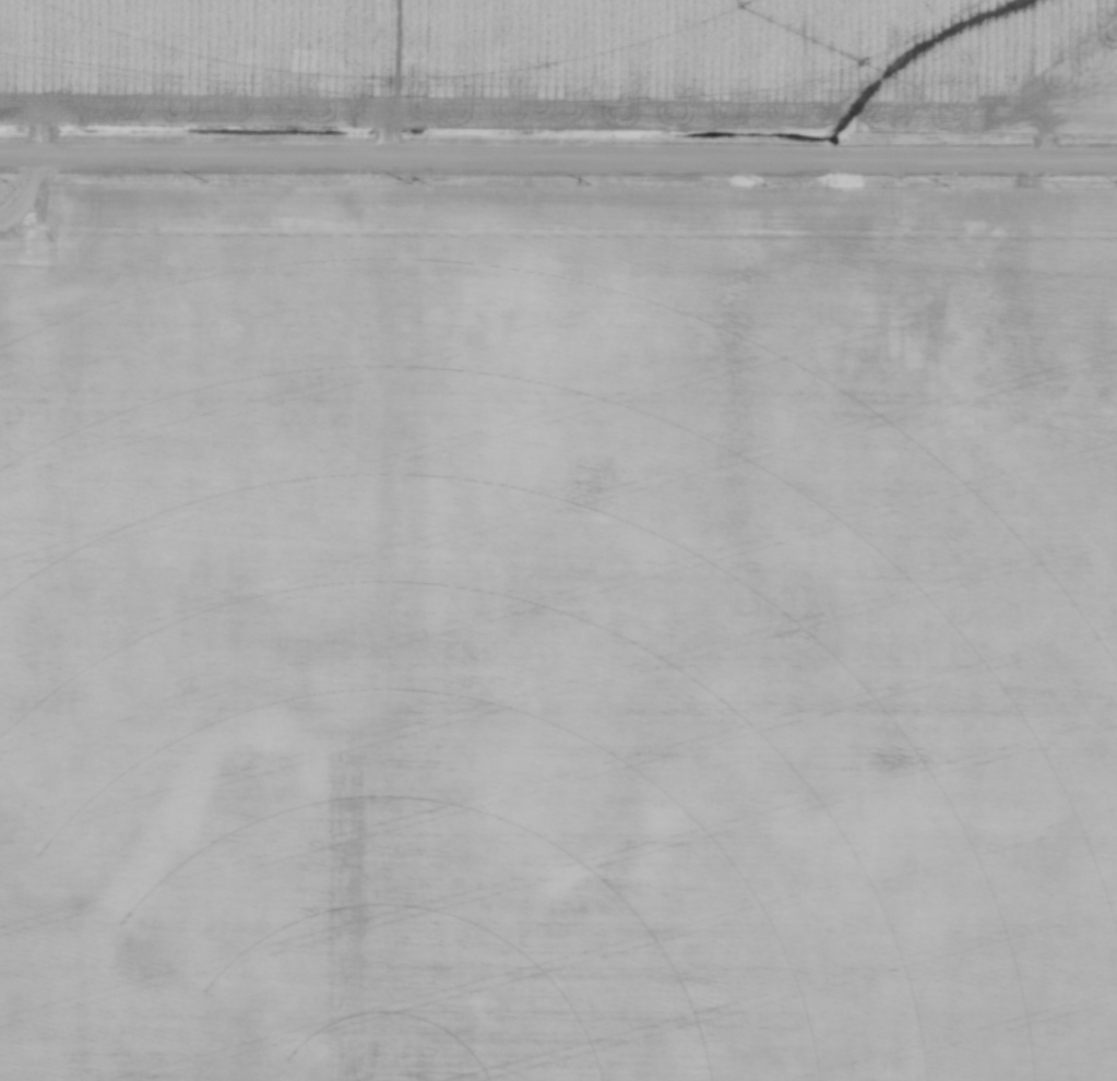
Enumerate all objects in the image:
road: (558, 158)

